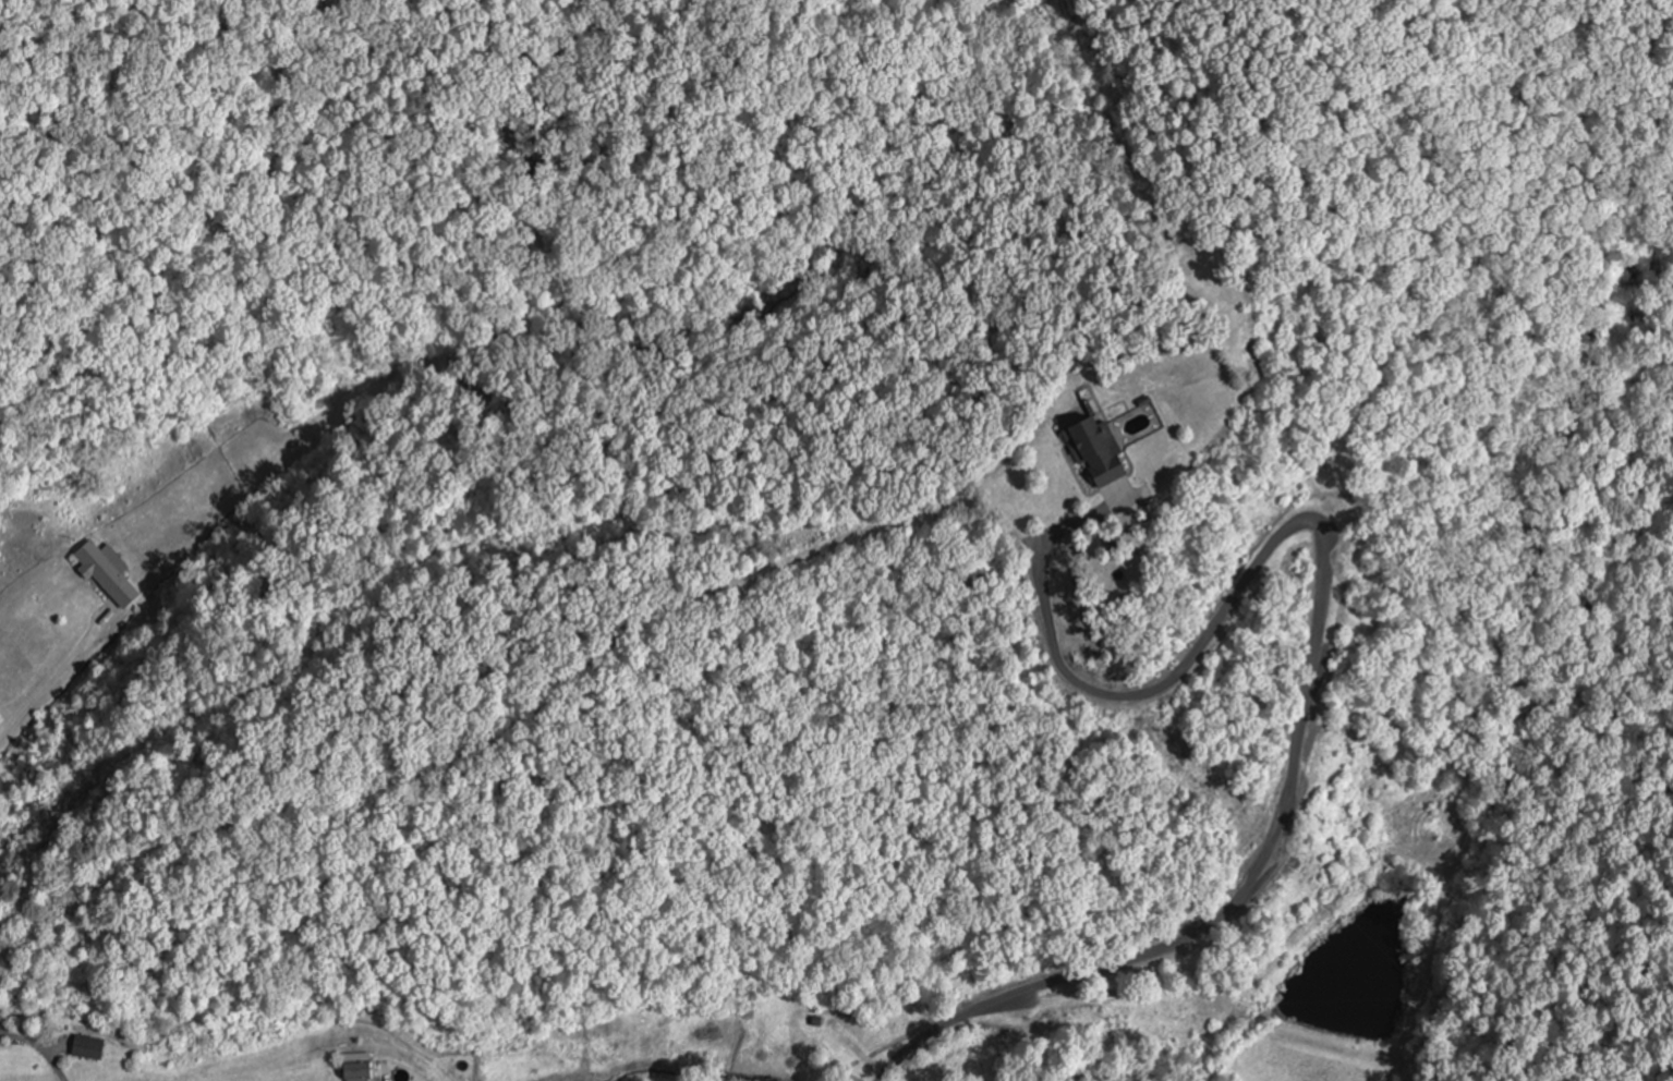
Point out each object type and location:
building: (1093, 451)
building: (104, 573)
building: (86, 1047)
building: (355, 1071)

